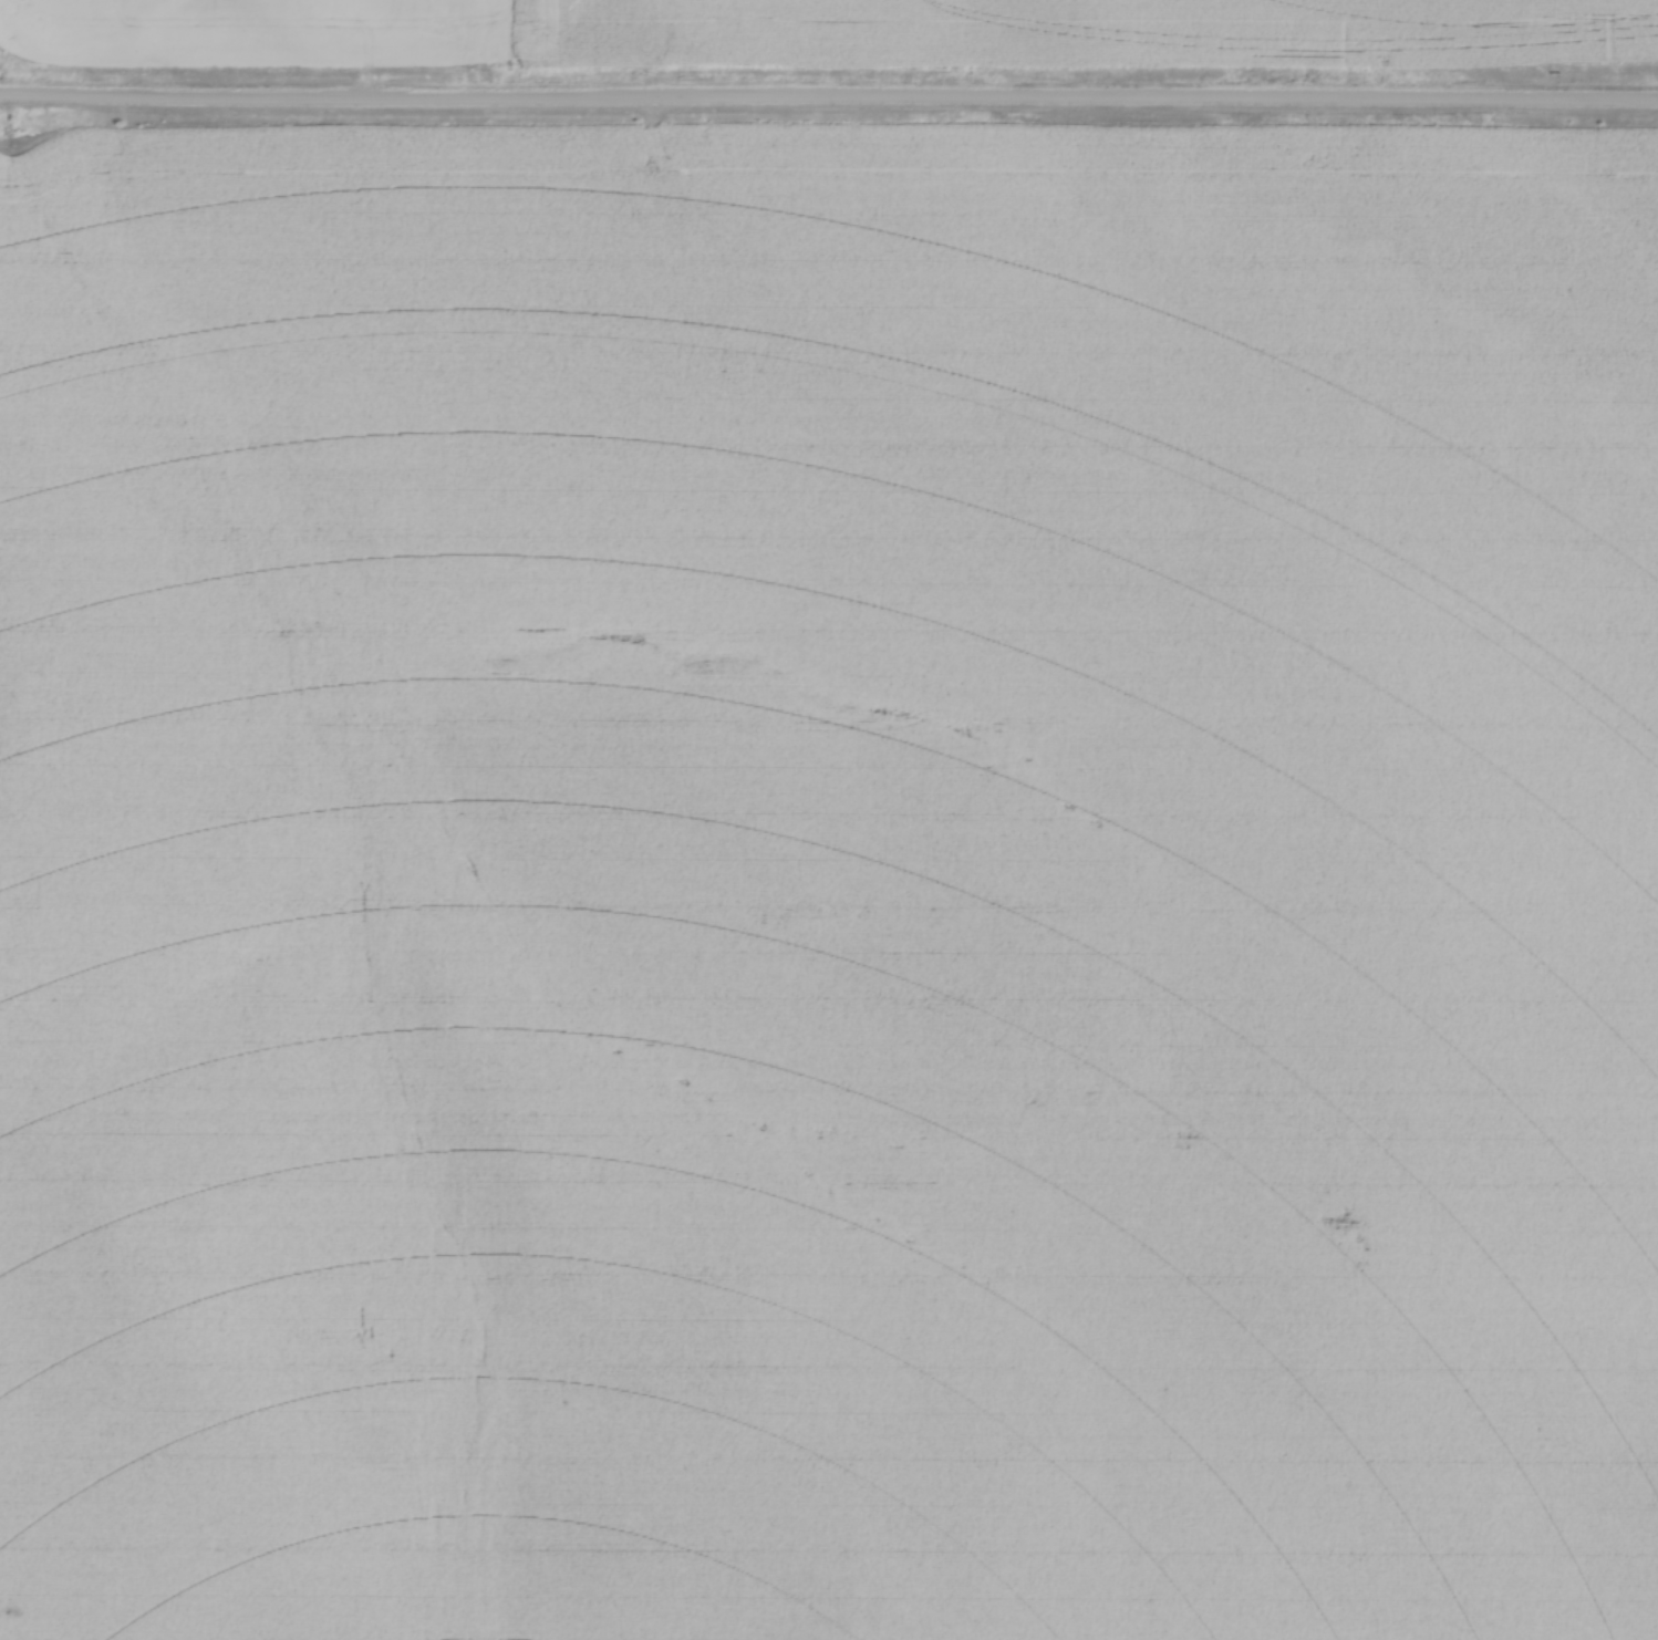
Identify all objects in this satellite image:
road: (828, 103)

